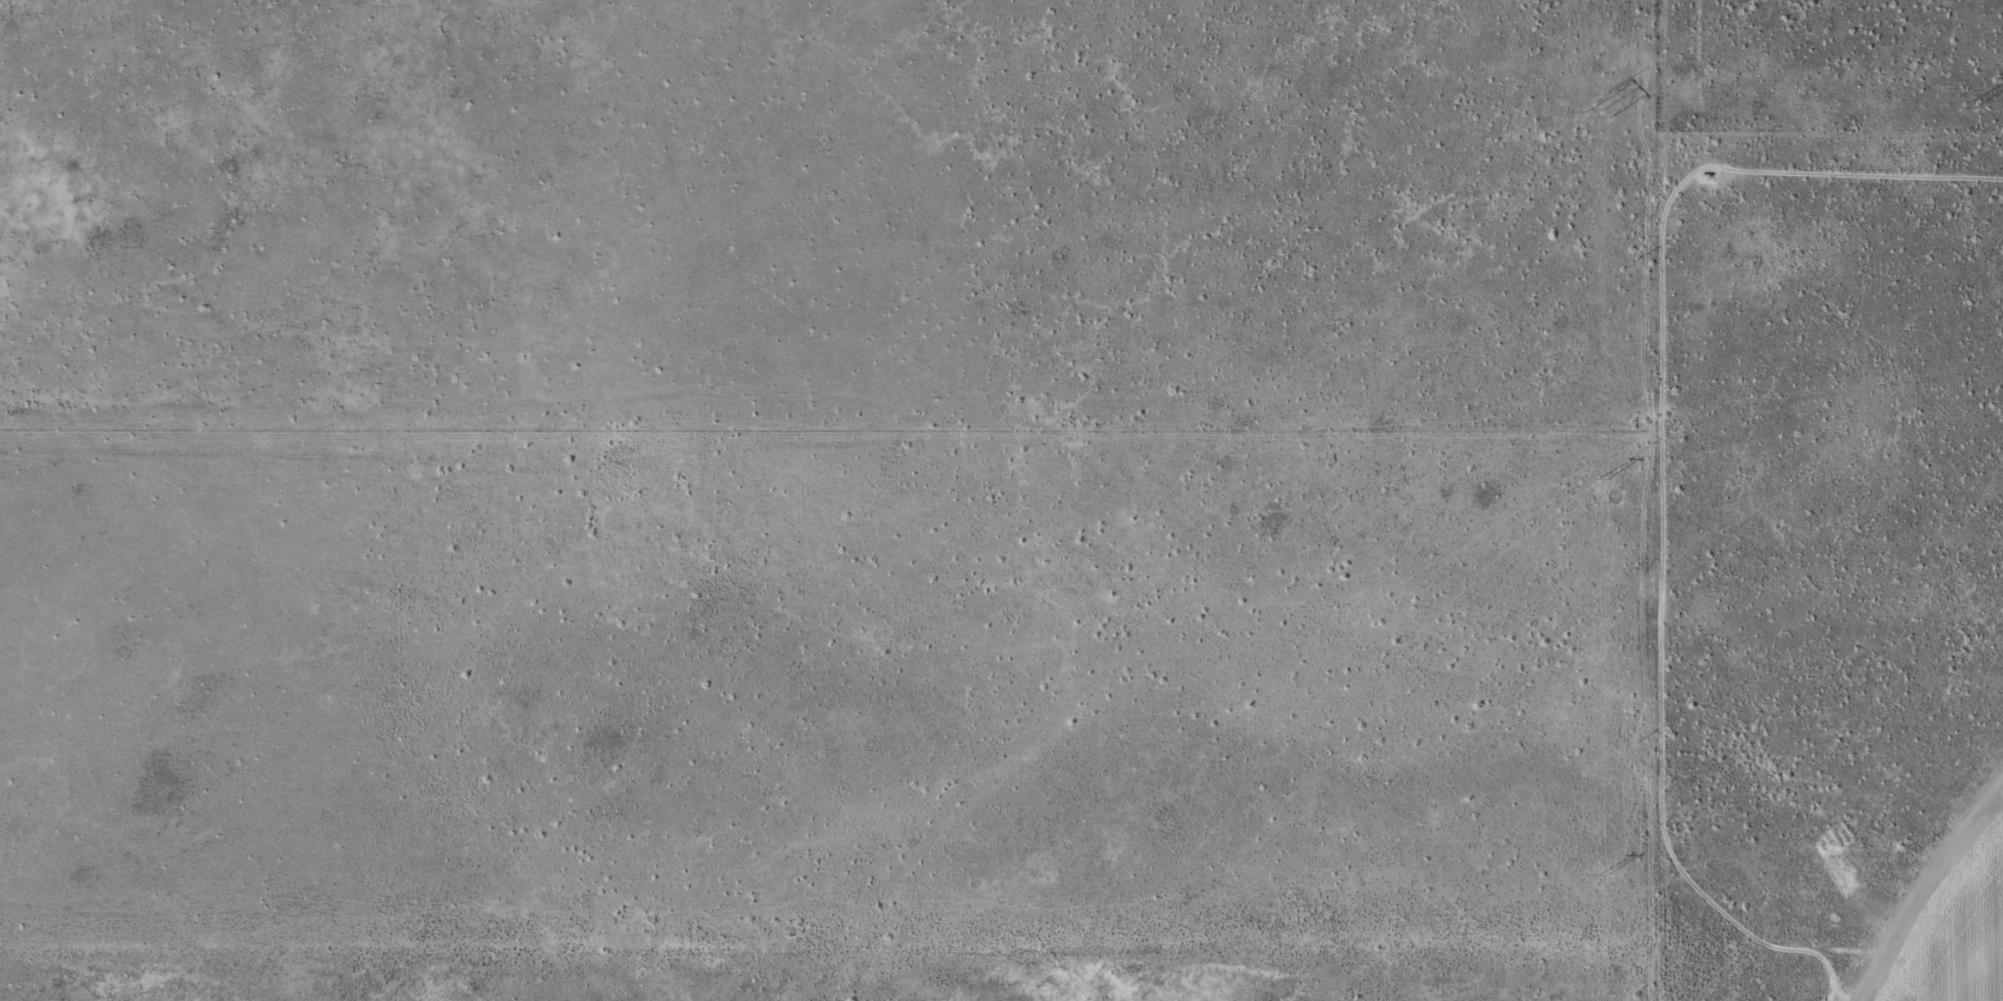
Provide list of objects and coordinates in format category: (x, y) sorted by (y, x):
power tower: (1972, 106)
power tower: (1597, 107)
power tower: (1599, 480)
road: (1642, 500)
power tower: (1603, 875)
road: (1824, 948)

